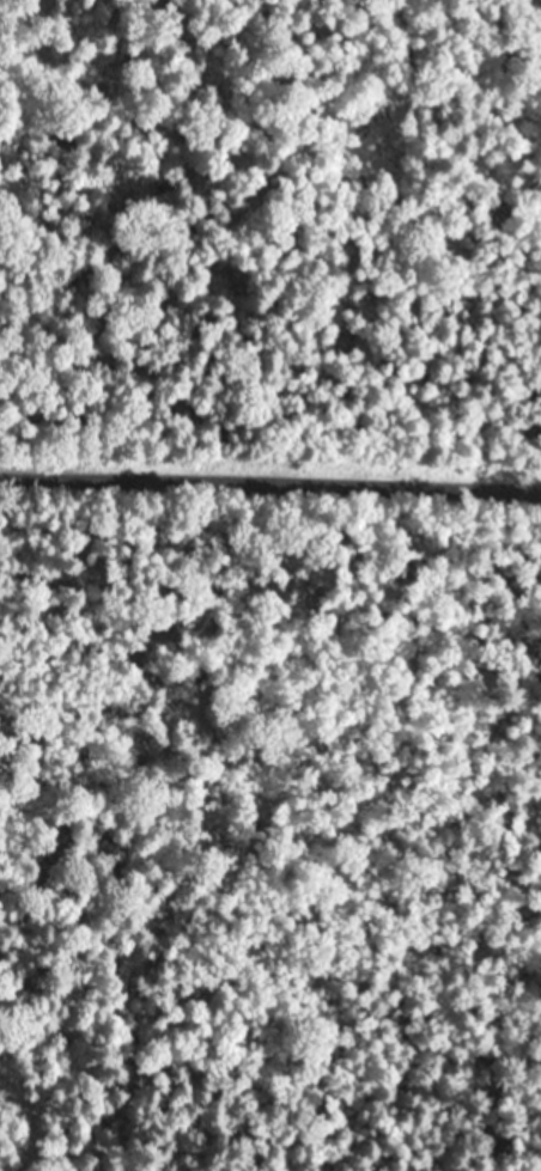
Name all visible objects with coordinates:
road: (270, 458)

